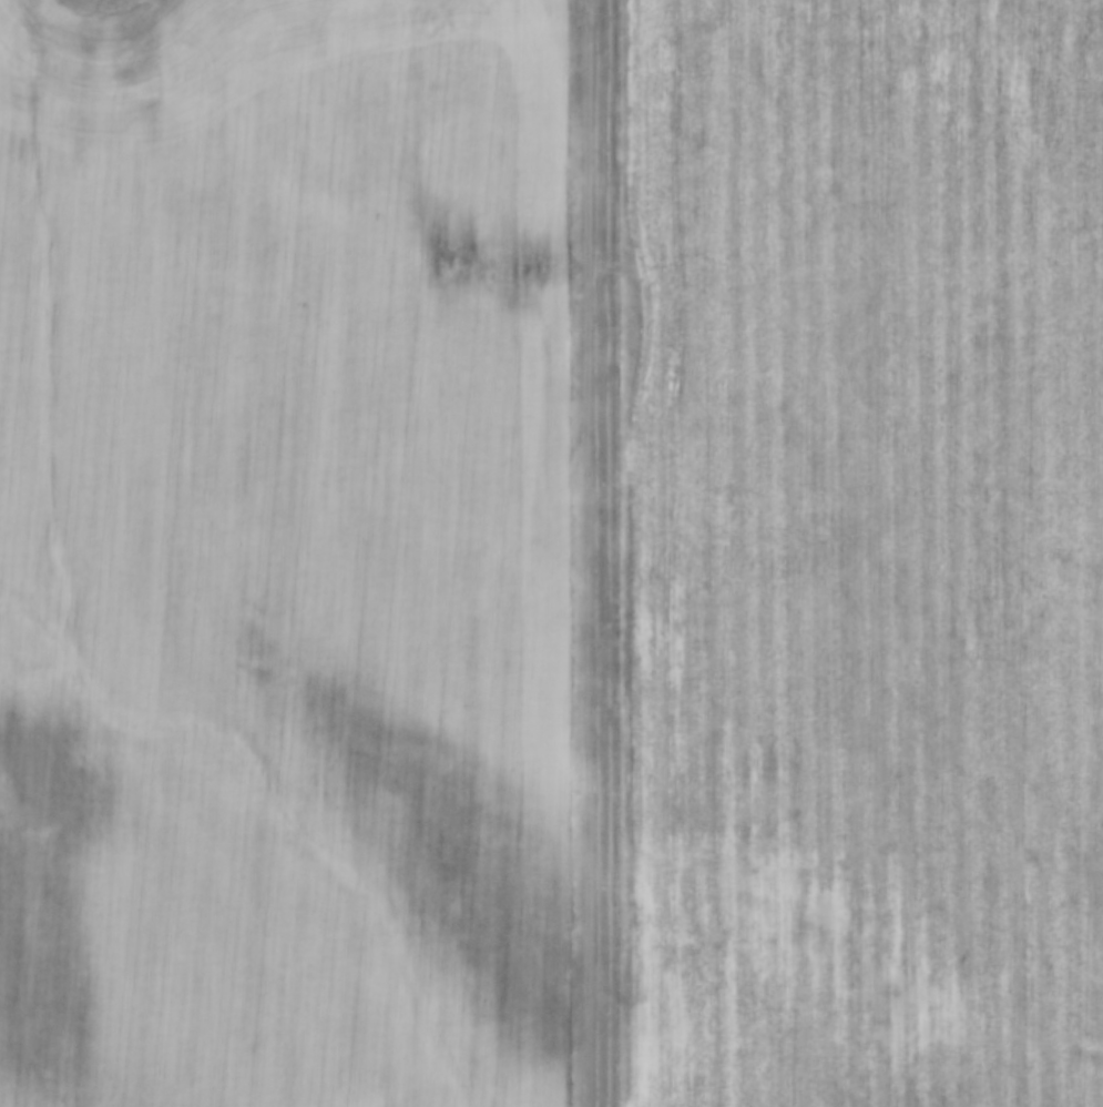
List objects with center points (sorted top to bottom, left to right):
road: (591, 552)

